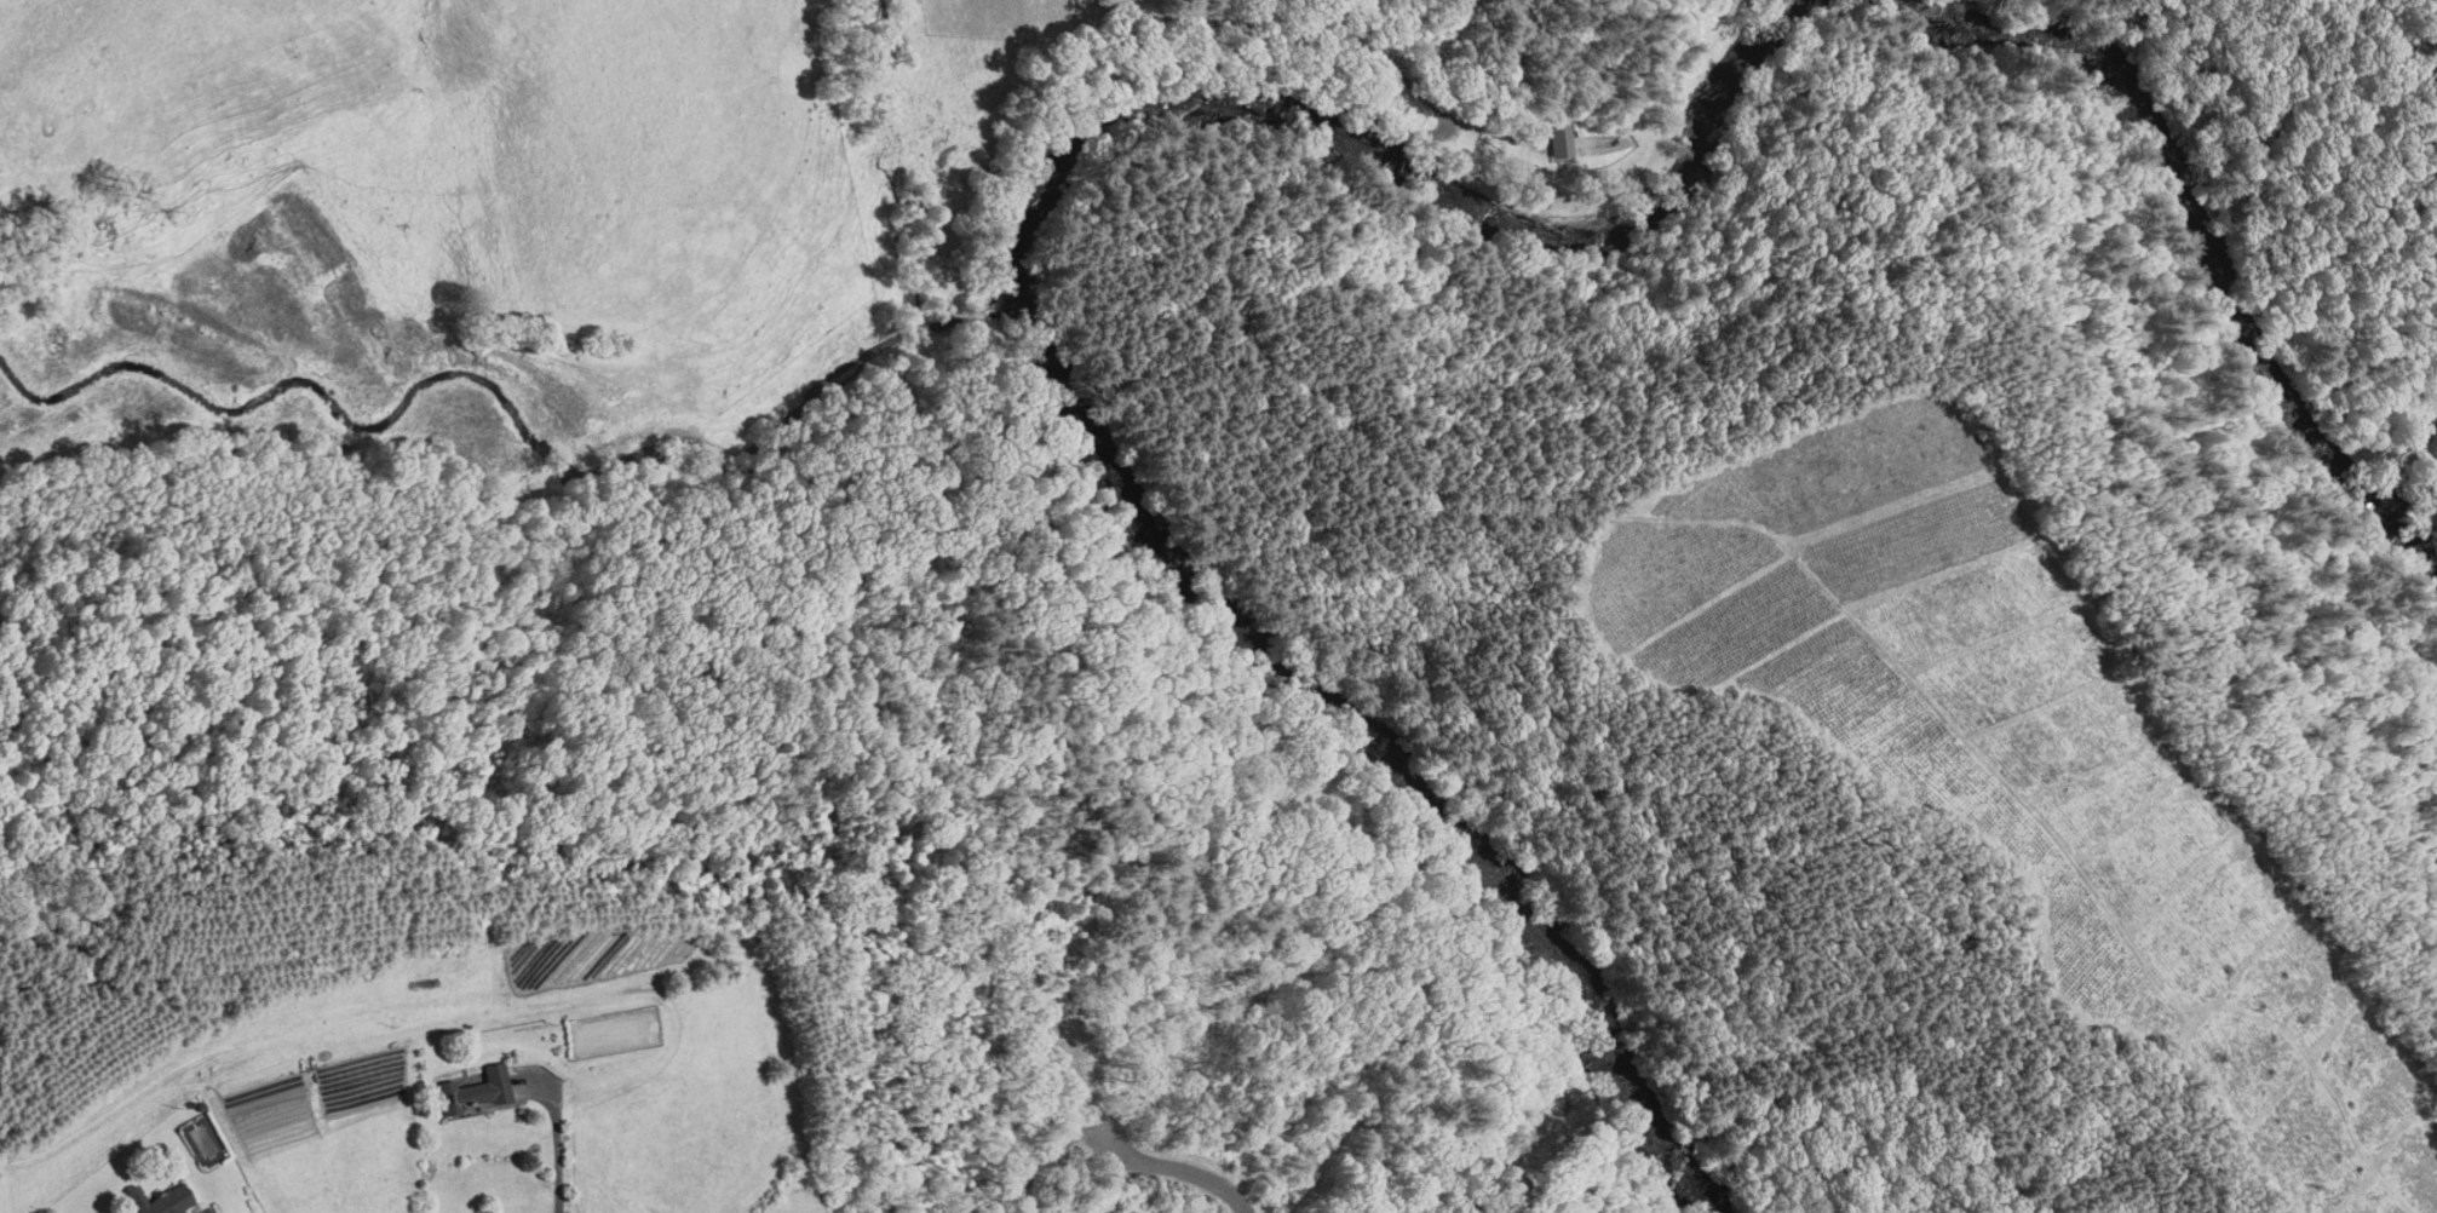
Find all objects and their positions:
road: (1283, 22)
river: (1401, 133)
building: (1561, 134)
river: (2220, 241)
river: (1390, 726)
building: (494, 954)
building: (477, 1087)
road: (1183, 1166)
building: (168, 1200)

